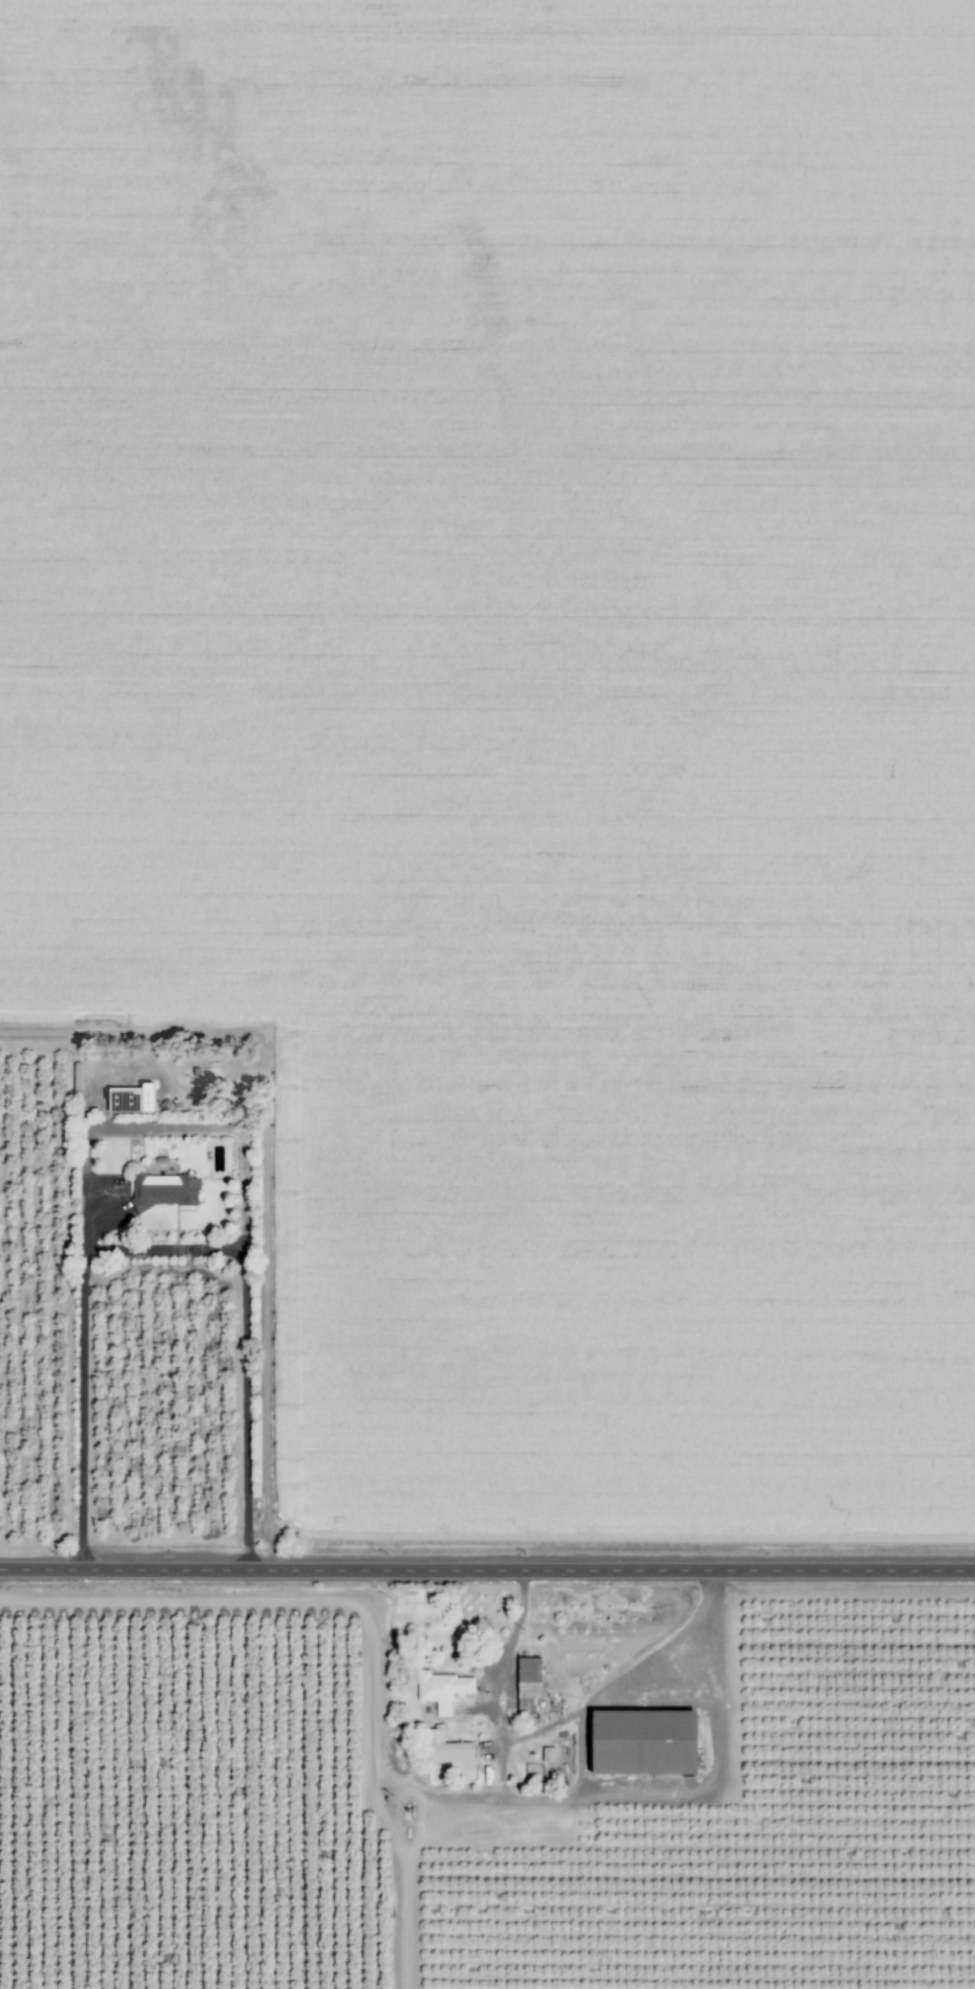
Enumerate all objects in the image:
building: (119, 1100)
road: (162, 1129)
building: (163, 1191)
road: (164, 1249)
road: (487, 1572)
building: (525, 1686)
building: (440, 1690)
road: (556, 1723)
building: (638, 1742)
building: (445, 1748)
building: (546, 1754)

